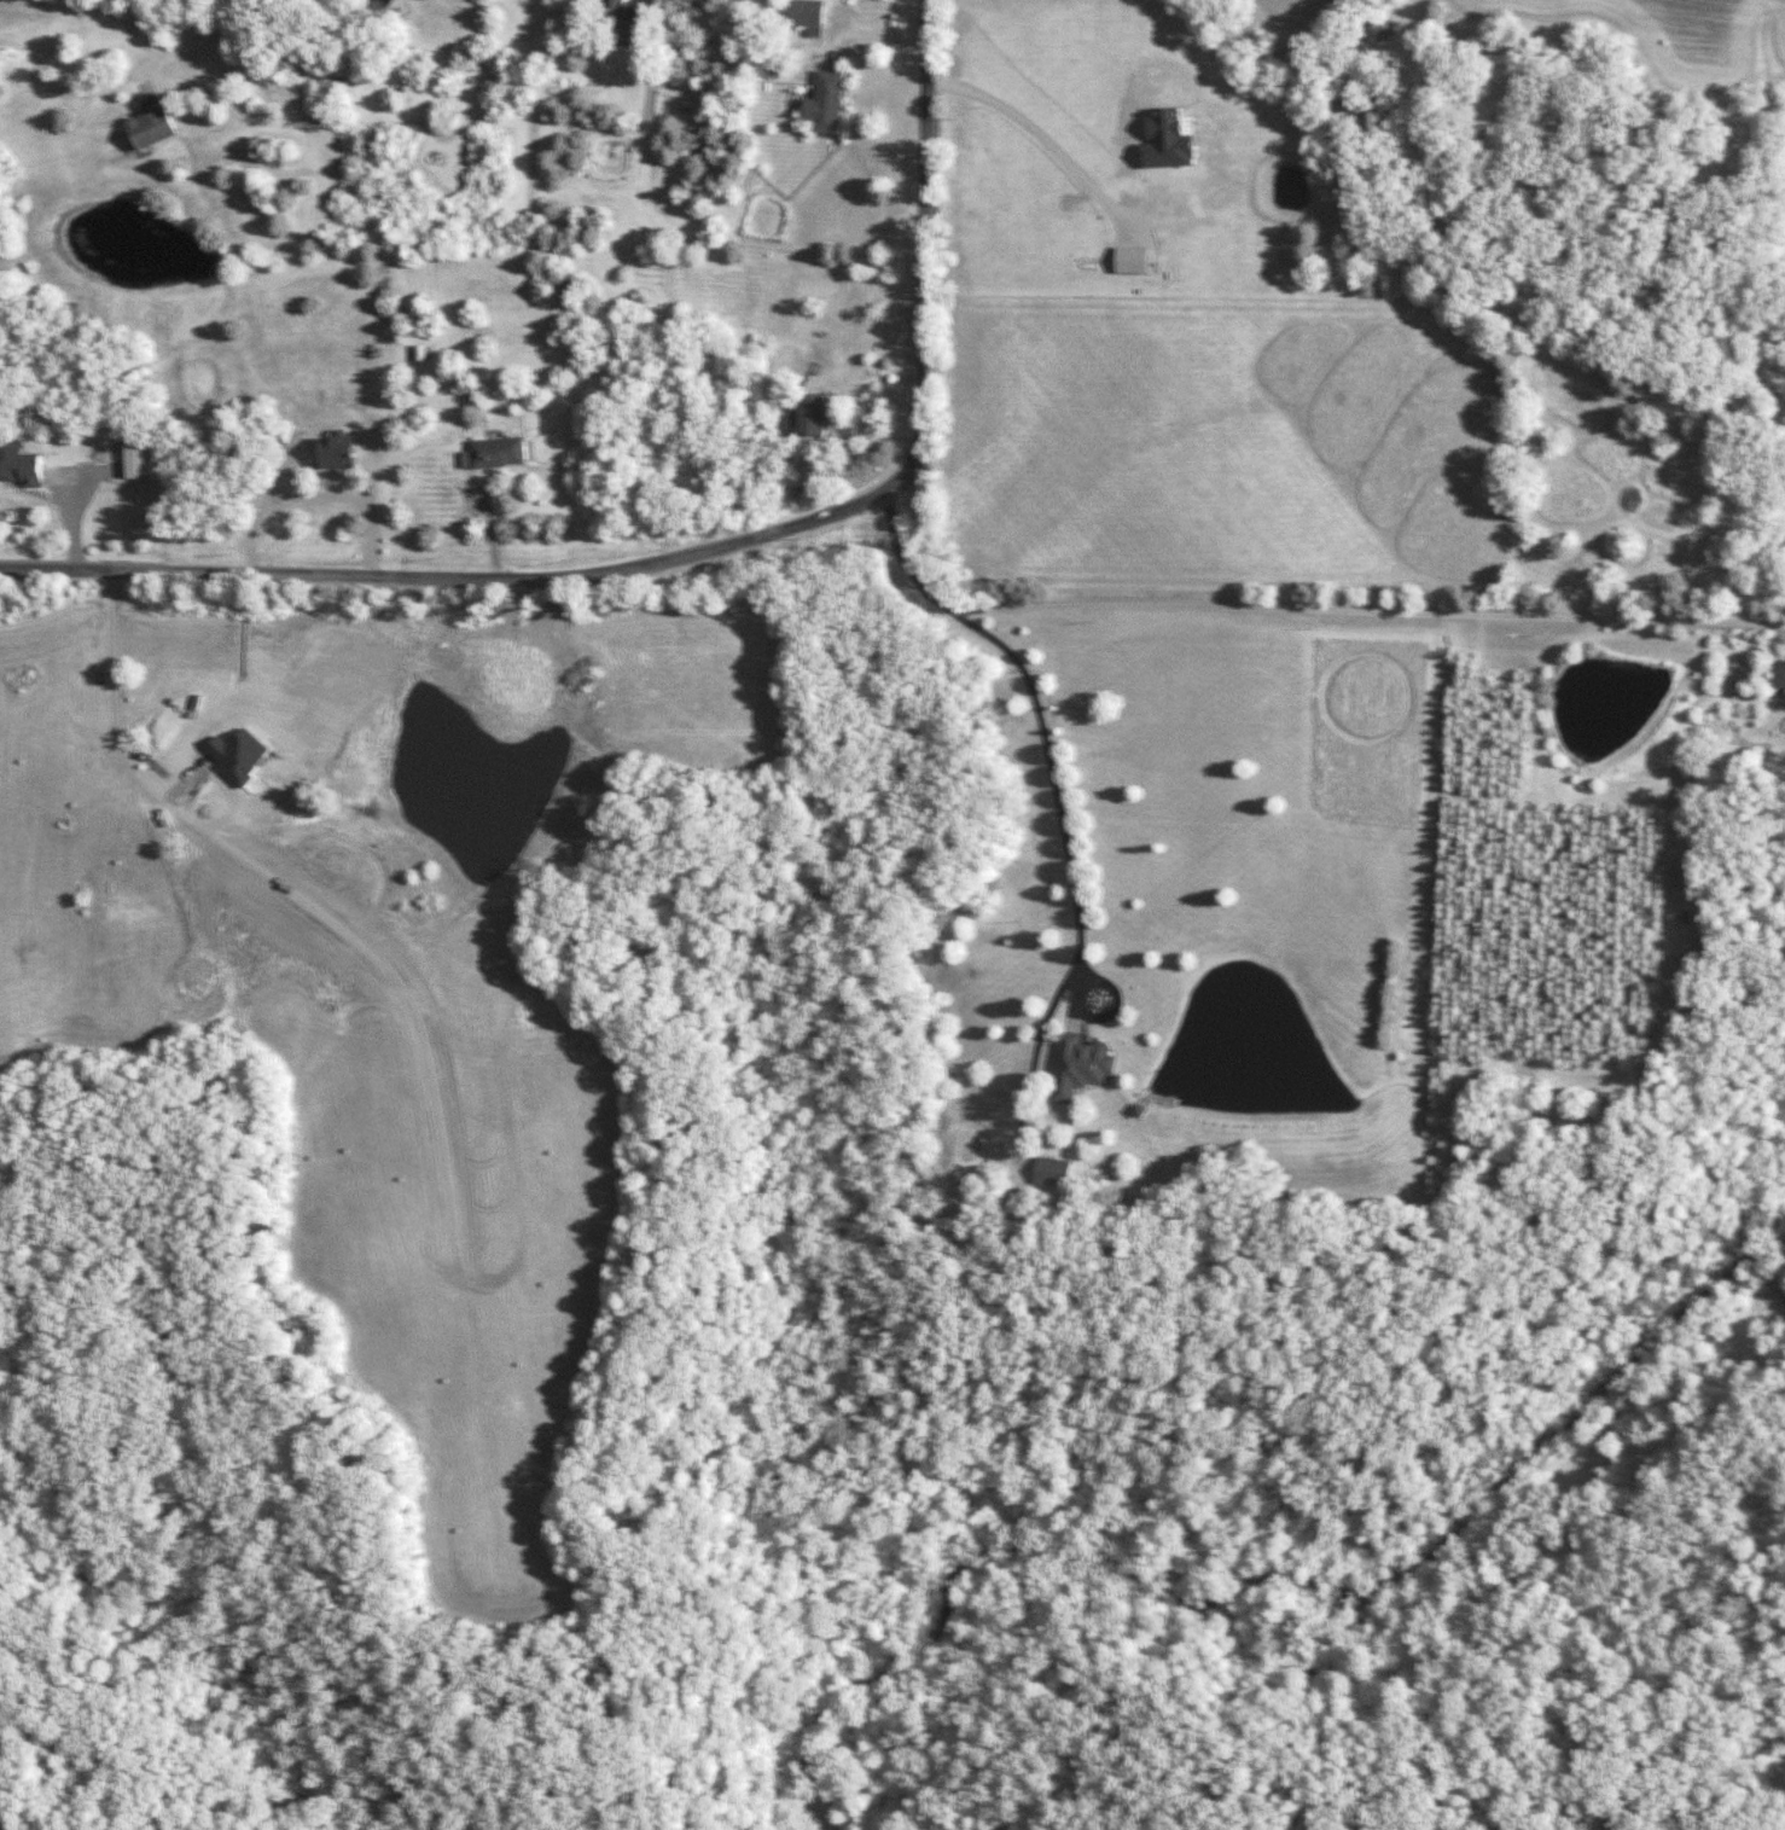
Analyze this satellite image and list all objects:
building: (395, 2)
building: (615, 5)
building: (809, 12)
building: (830, 100)
building: (156, 123)
road: (1063, 161)
building: (816, 413)
building: (341, 452)
building: (501, 452)
building: (139, 460)
building: (25, 466)
road: (702, 550)
road: (1365, 616)
building: (1783, 673)
road: (1056, 800)
road: (242, 831)
building: (300, 890)
building: (1080, 1061)
building: (1052, 1170)
building: (970, 1270)

